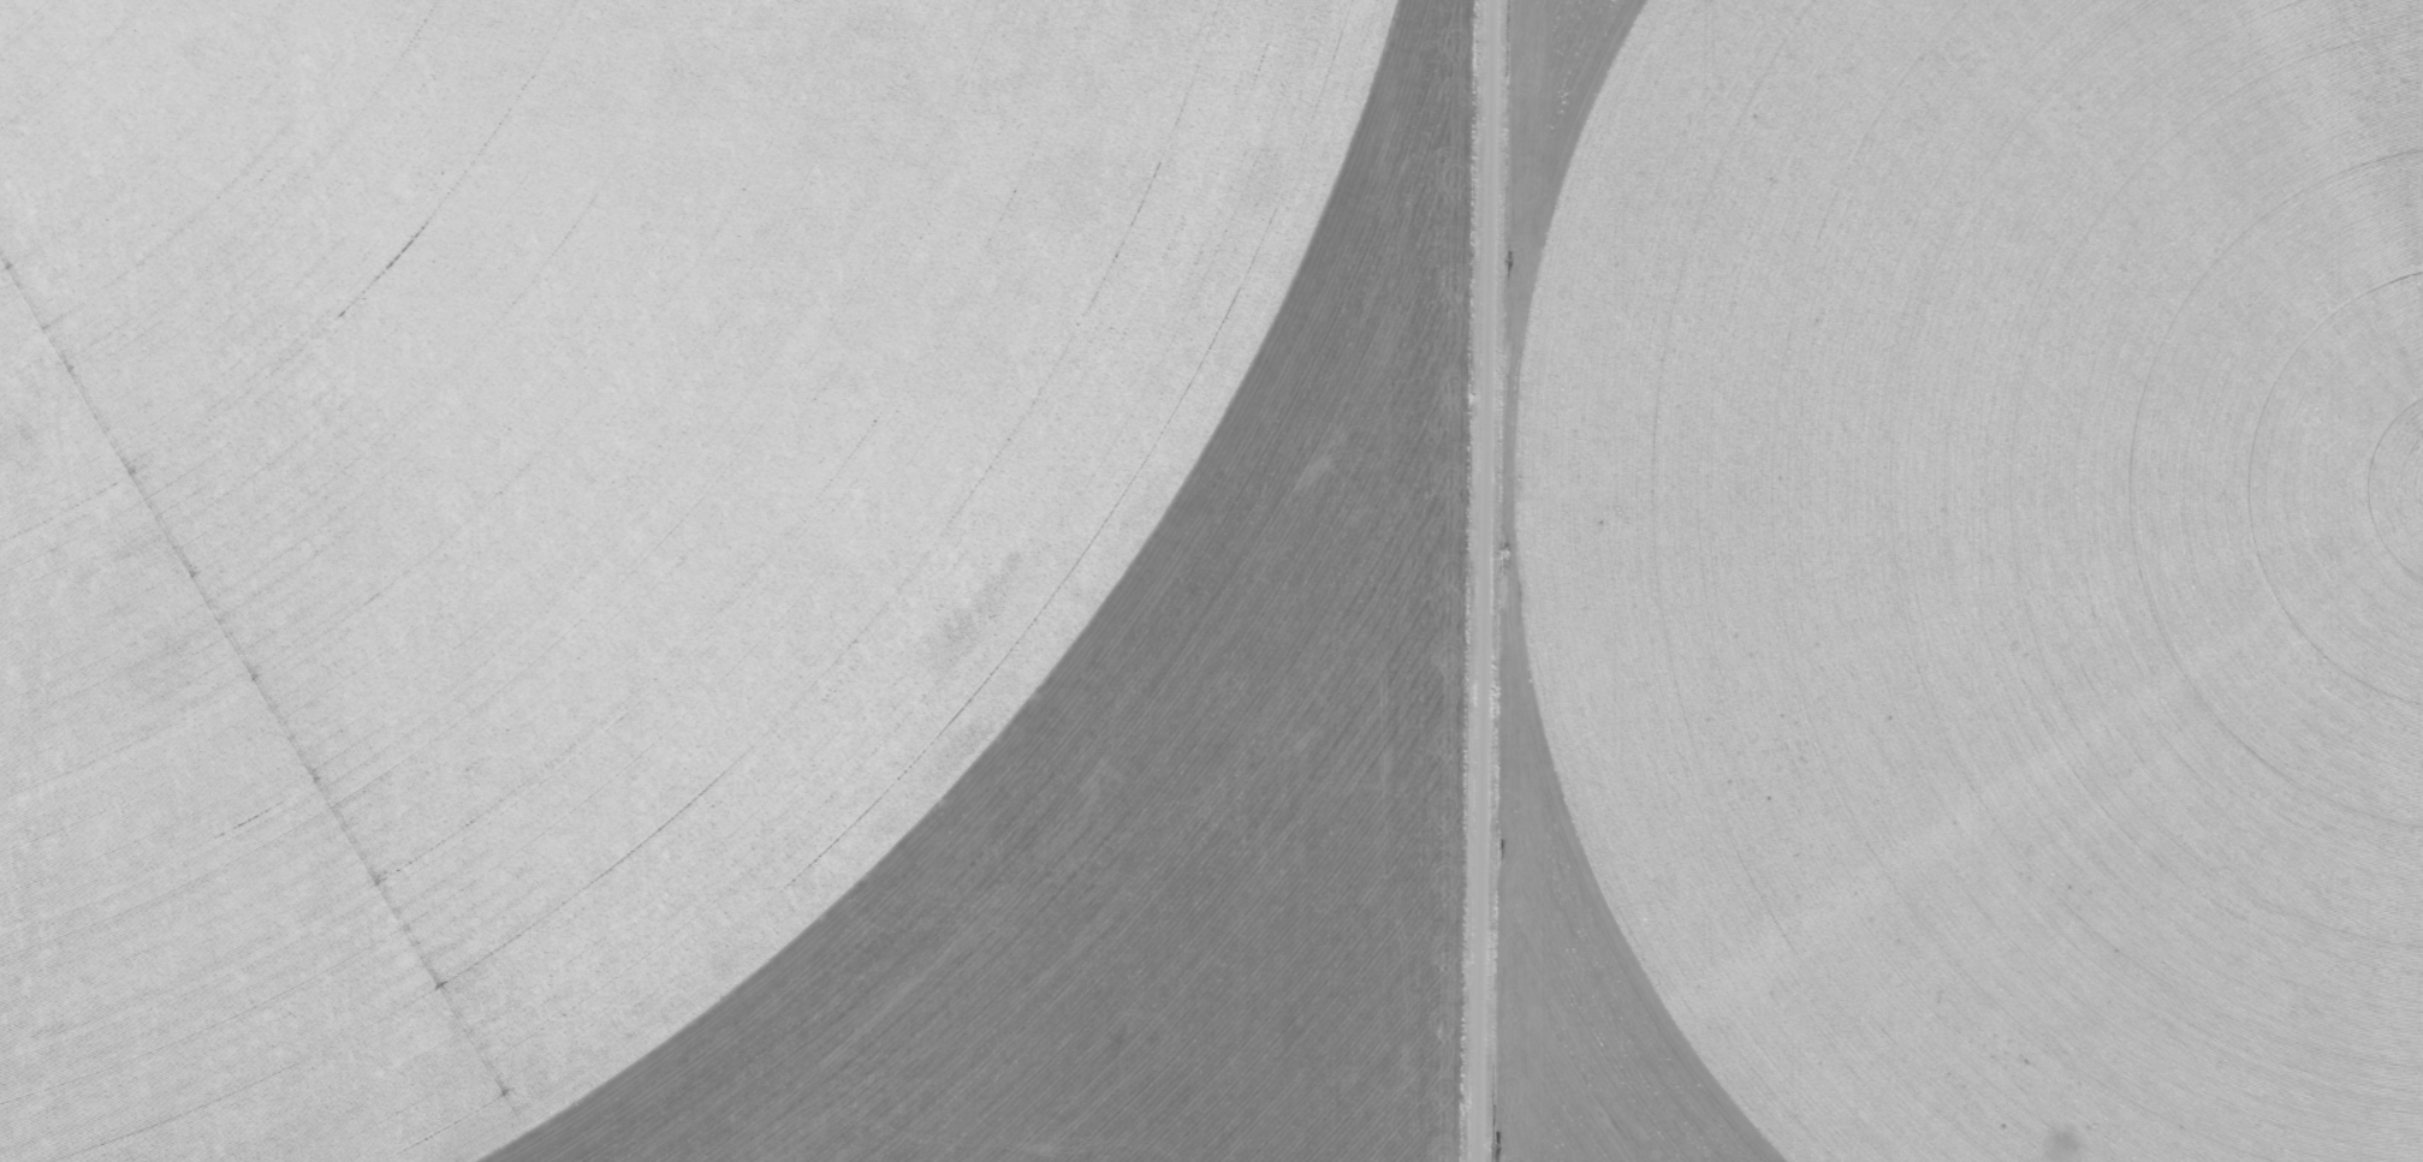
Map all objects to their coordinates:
road: (1486, 580)

